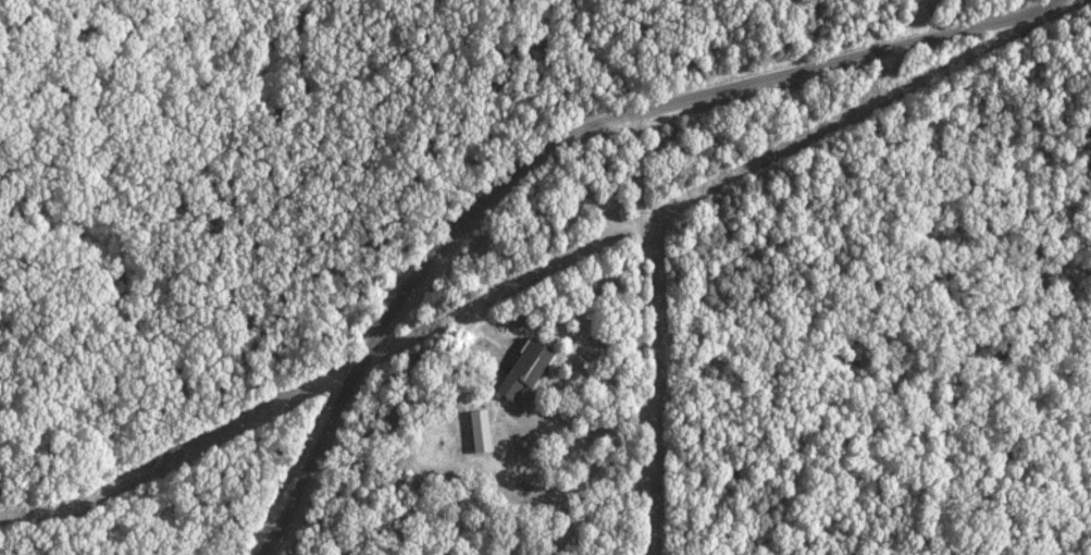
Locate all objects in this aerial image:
road: (559, 141)
road: (637, 335)
building: (514, 370)
building: (470, 431)
road: (583, 473)

